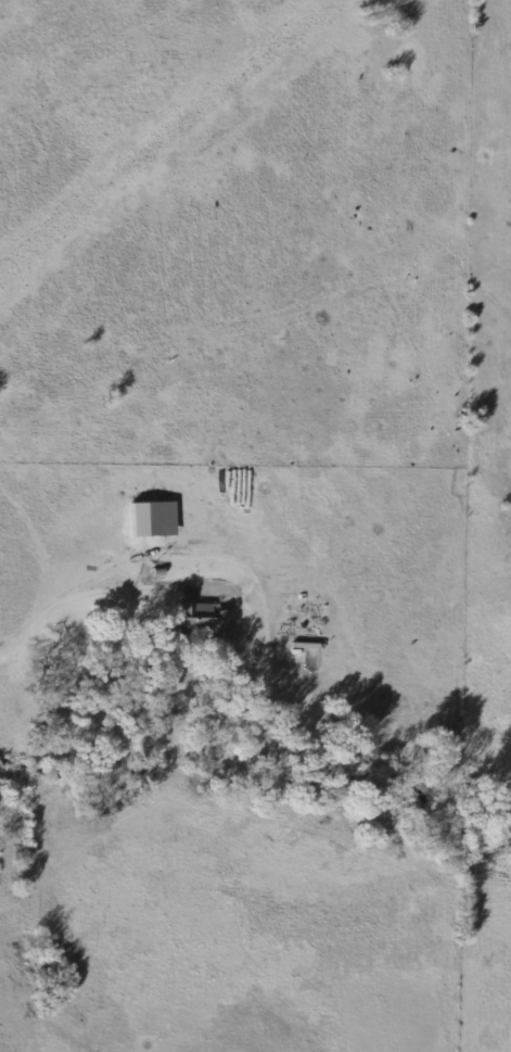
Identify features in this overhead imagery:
road: (78, 596)
building: (203, 619)

